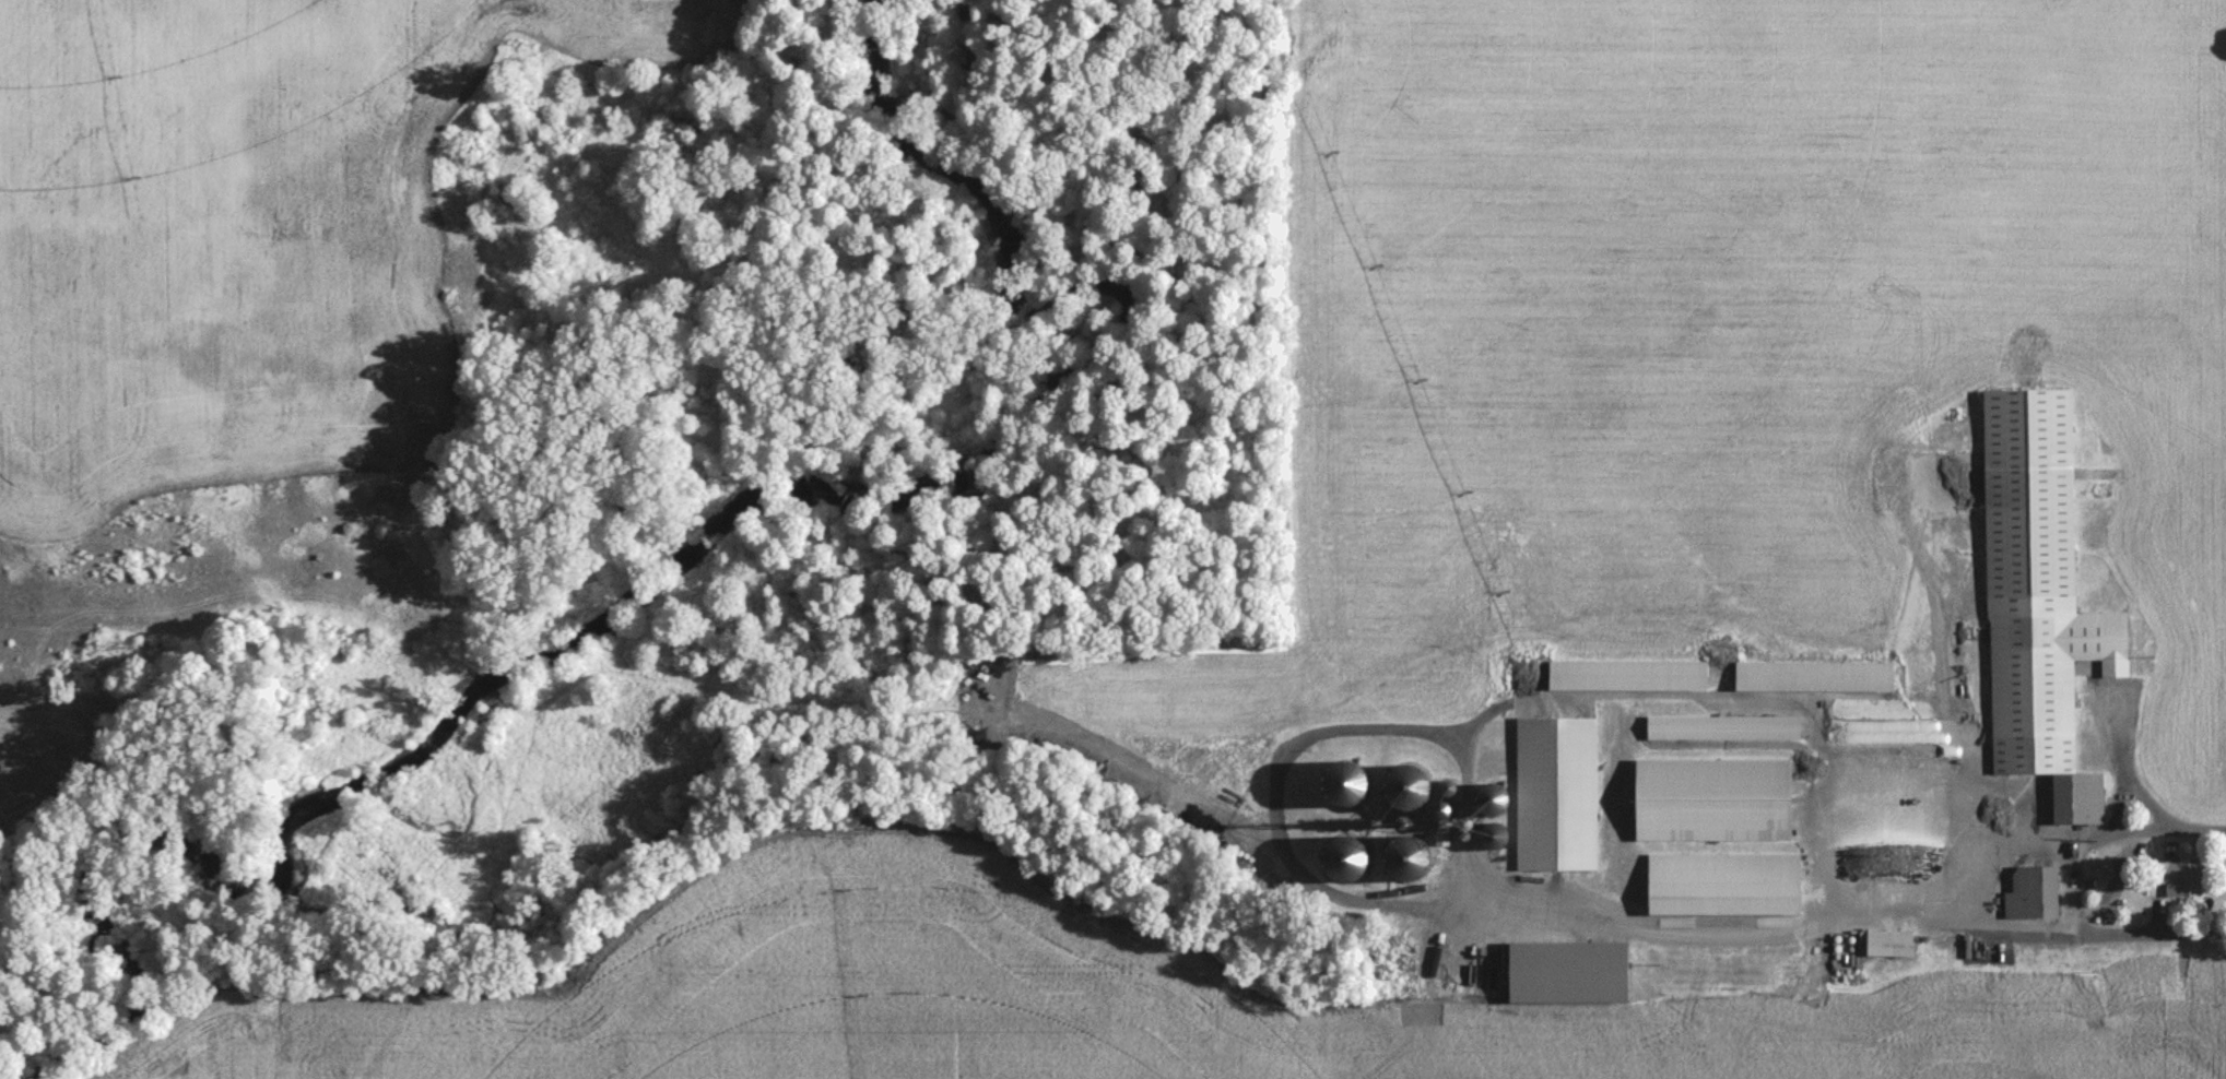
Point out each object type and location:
building: (2038, 601)
building: (1626, 677)
building: (1812, 678)
building: (1722, 730)
building: (1401, 792)
building: (1555, 796)
building: (1710, 802)
building: (1486, 804)
building: (1400, 863)
building: (1340, 865)
building: (1864, 877)
building: (2171, 878)
building: (1722, 886)
road: (1976, 890)
building: (2029, 893)
building: (1887, 944)

